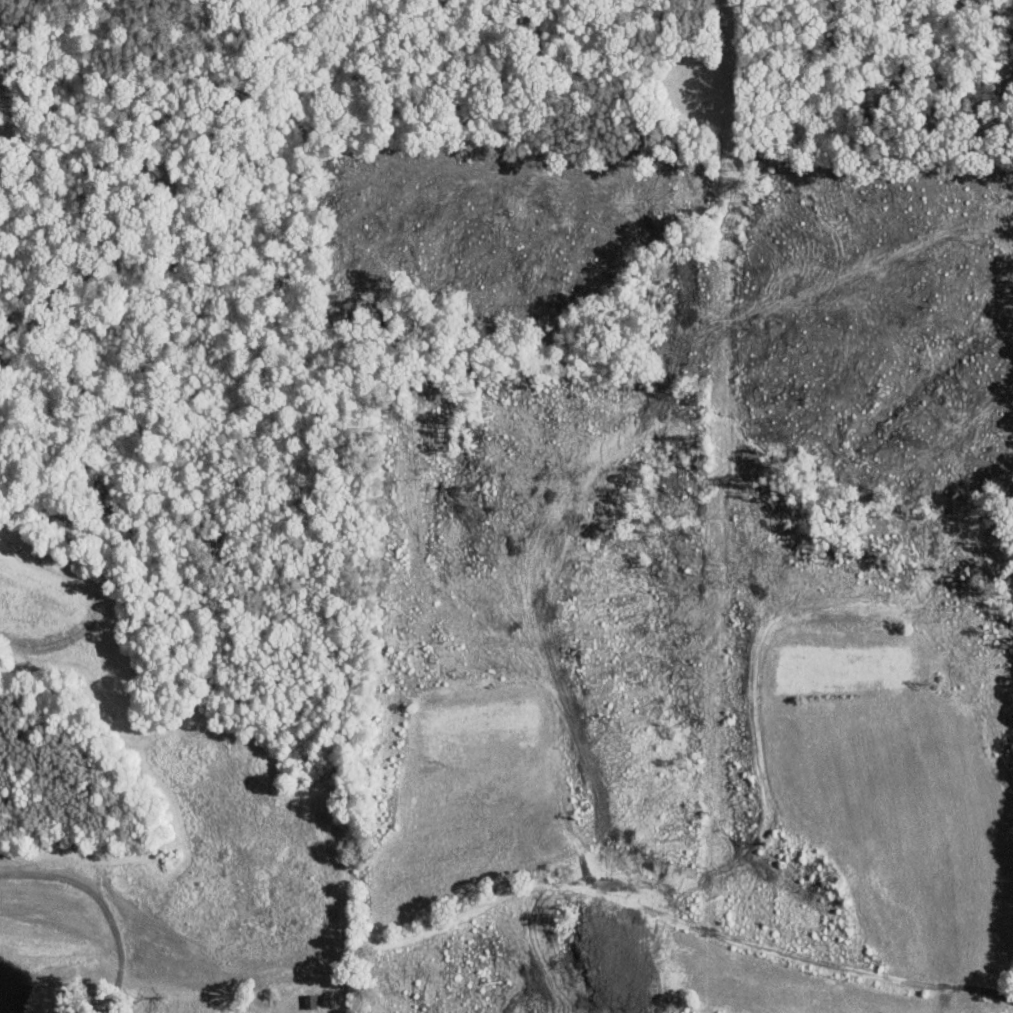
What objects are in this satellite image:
road: (101, 906)

